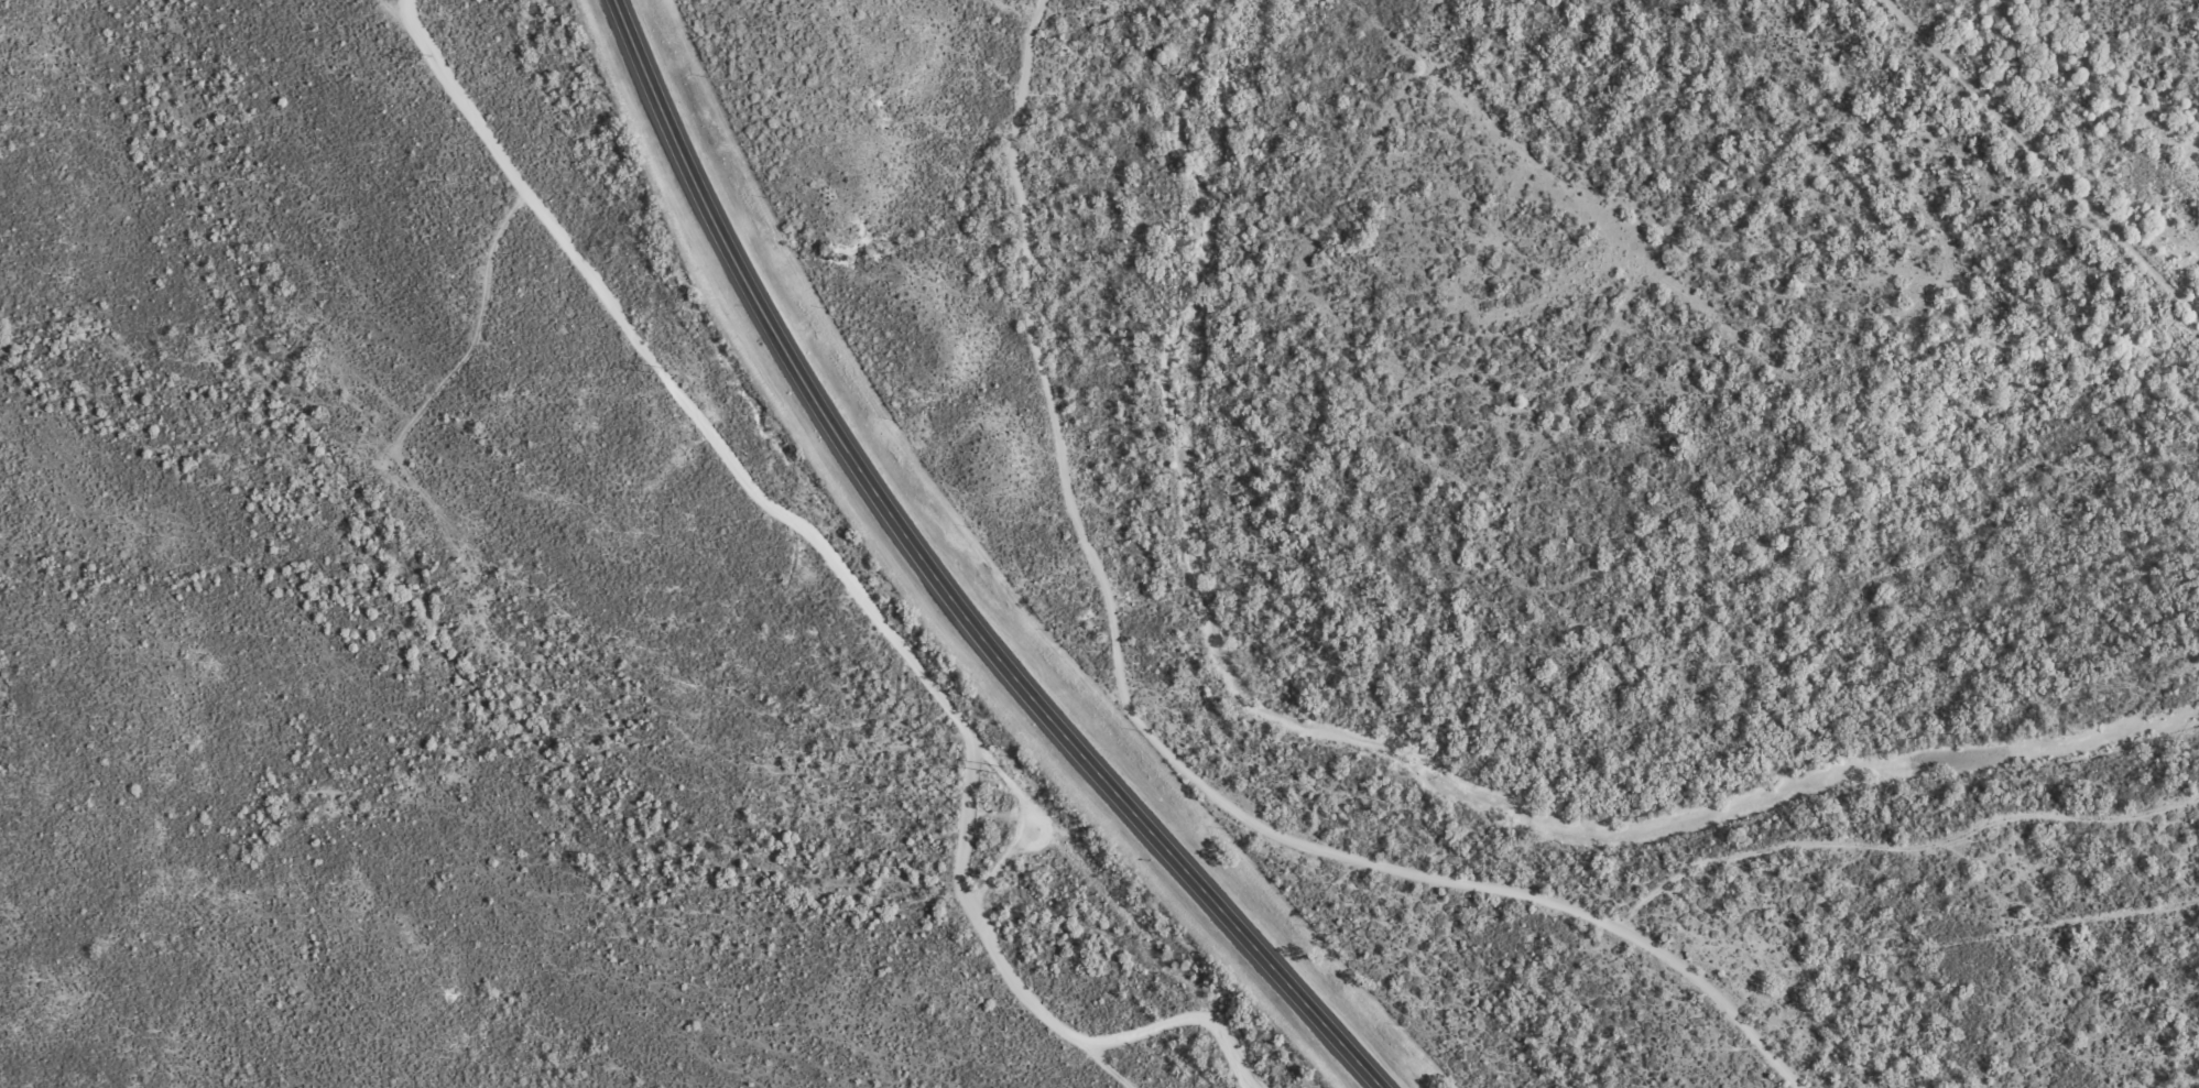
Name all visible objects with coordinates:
power tower: (431, 58)
power tower: (660, 371)
road: (725, 543)
road: (936, 586)
power tower: (999, 771)

